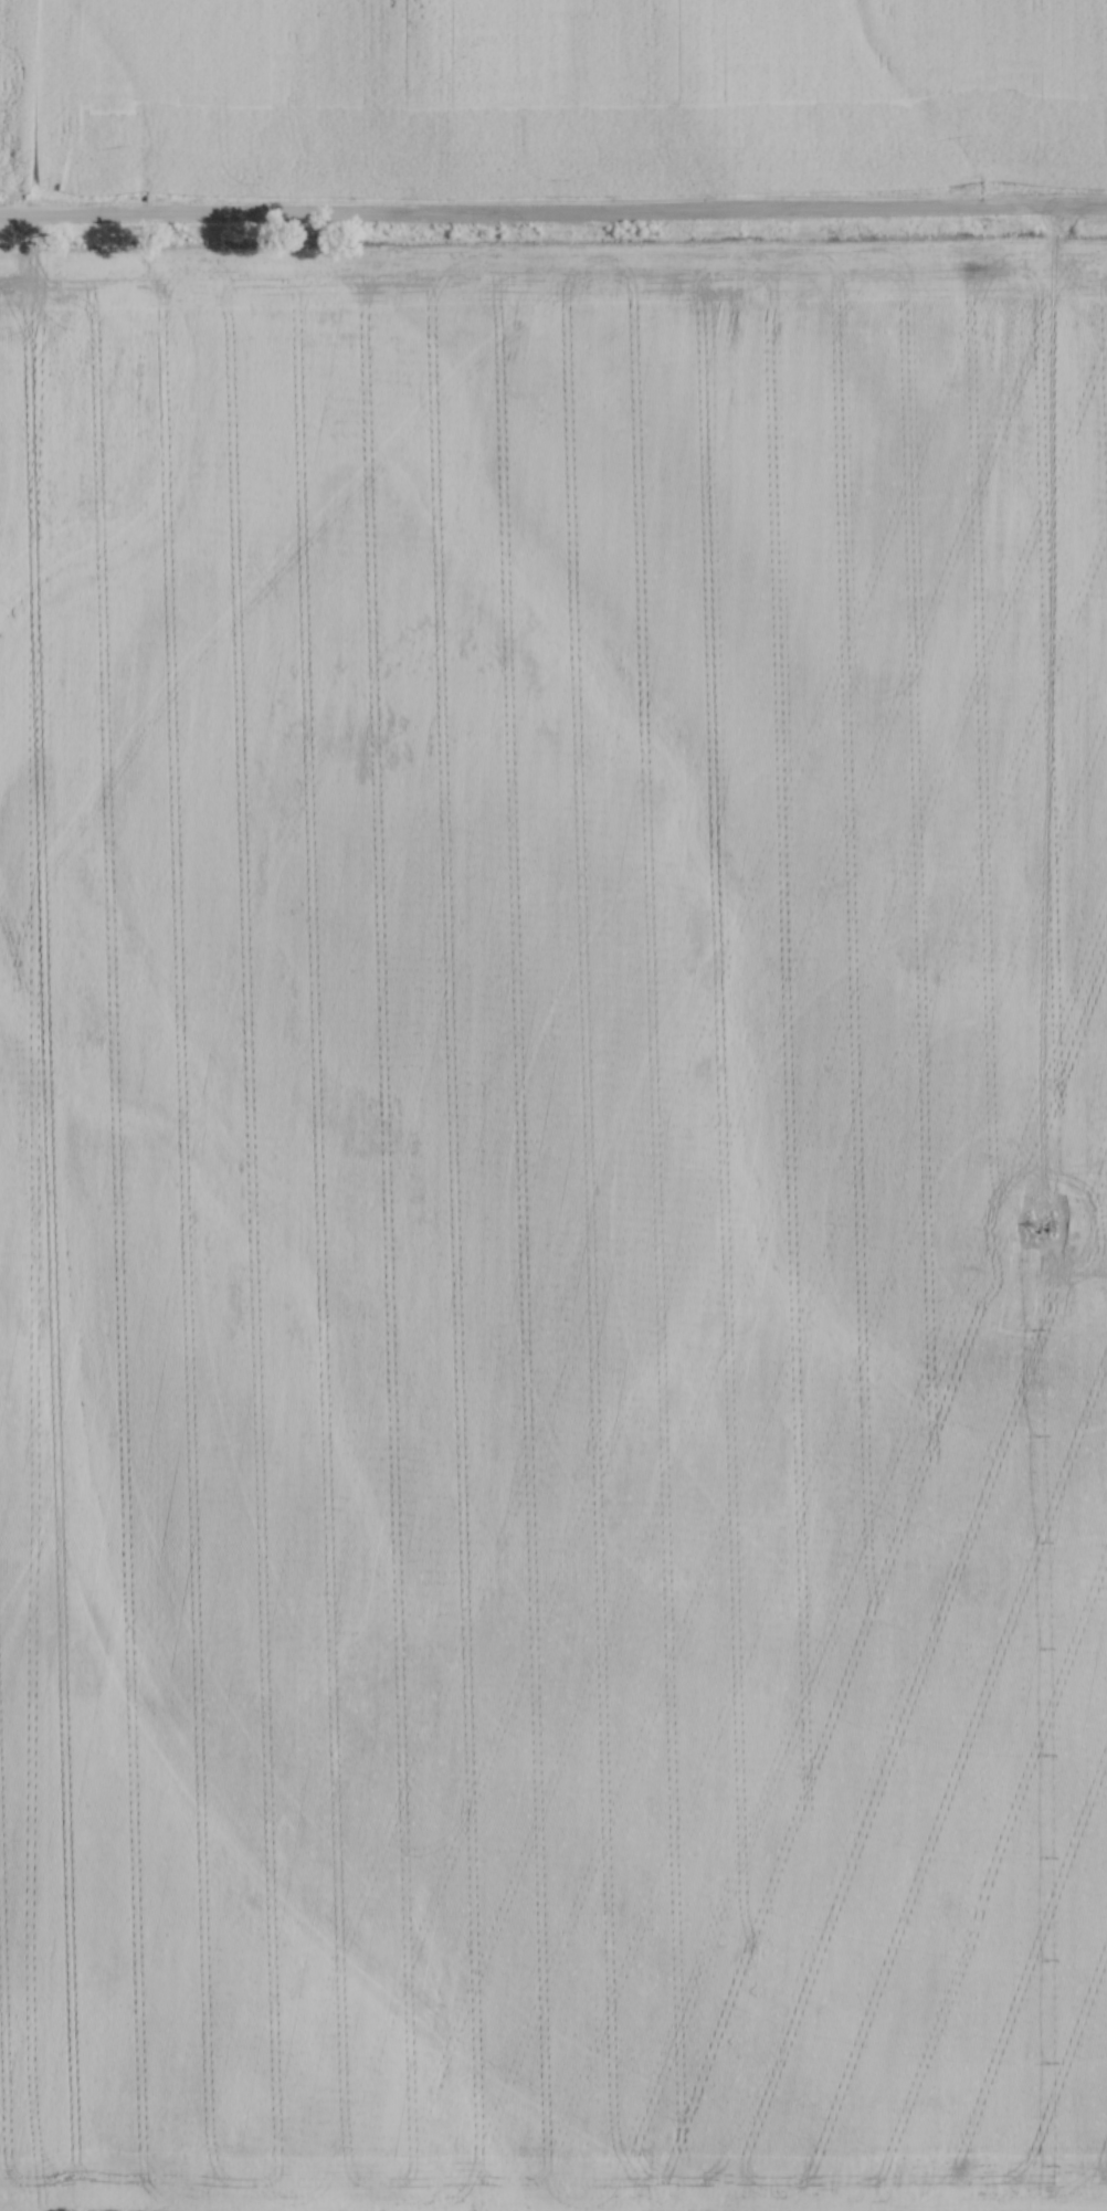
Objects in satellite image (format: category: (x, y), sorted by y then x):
road: (553, 218)

